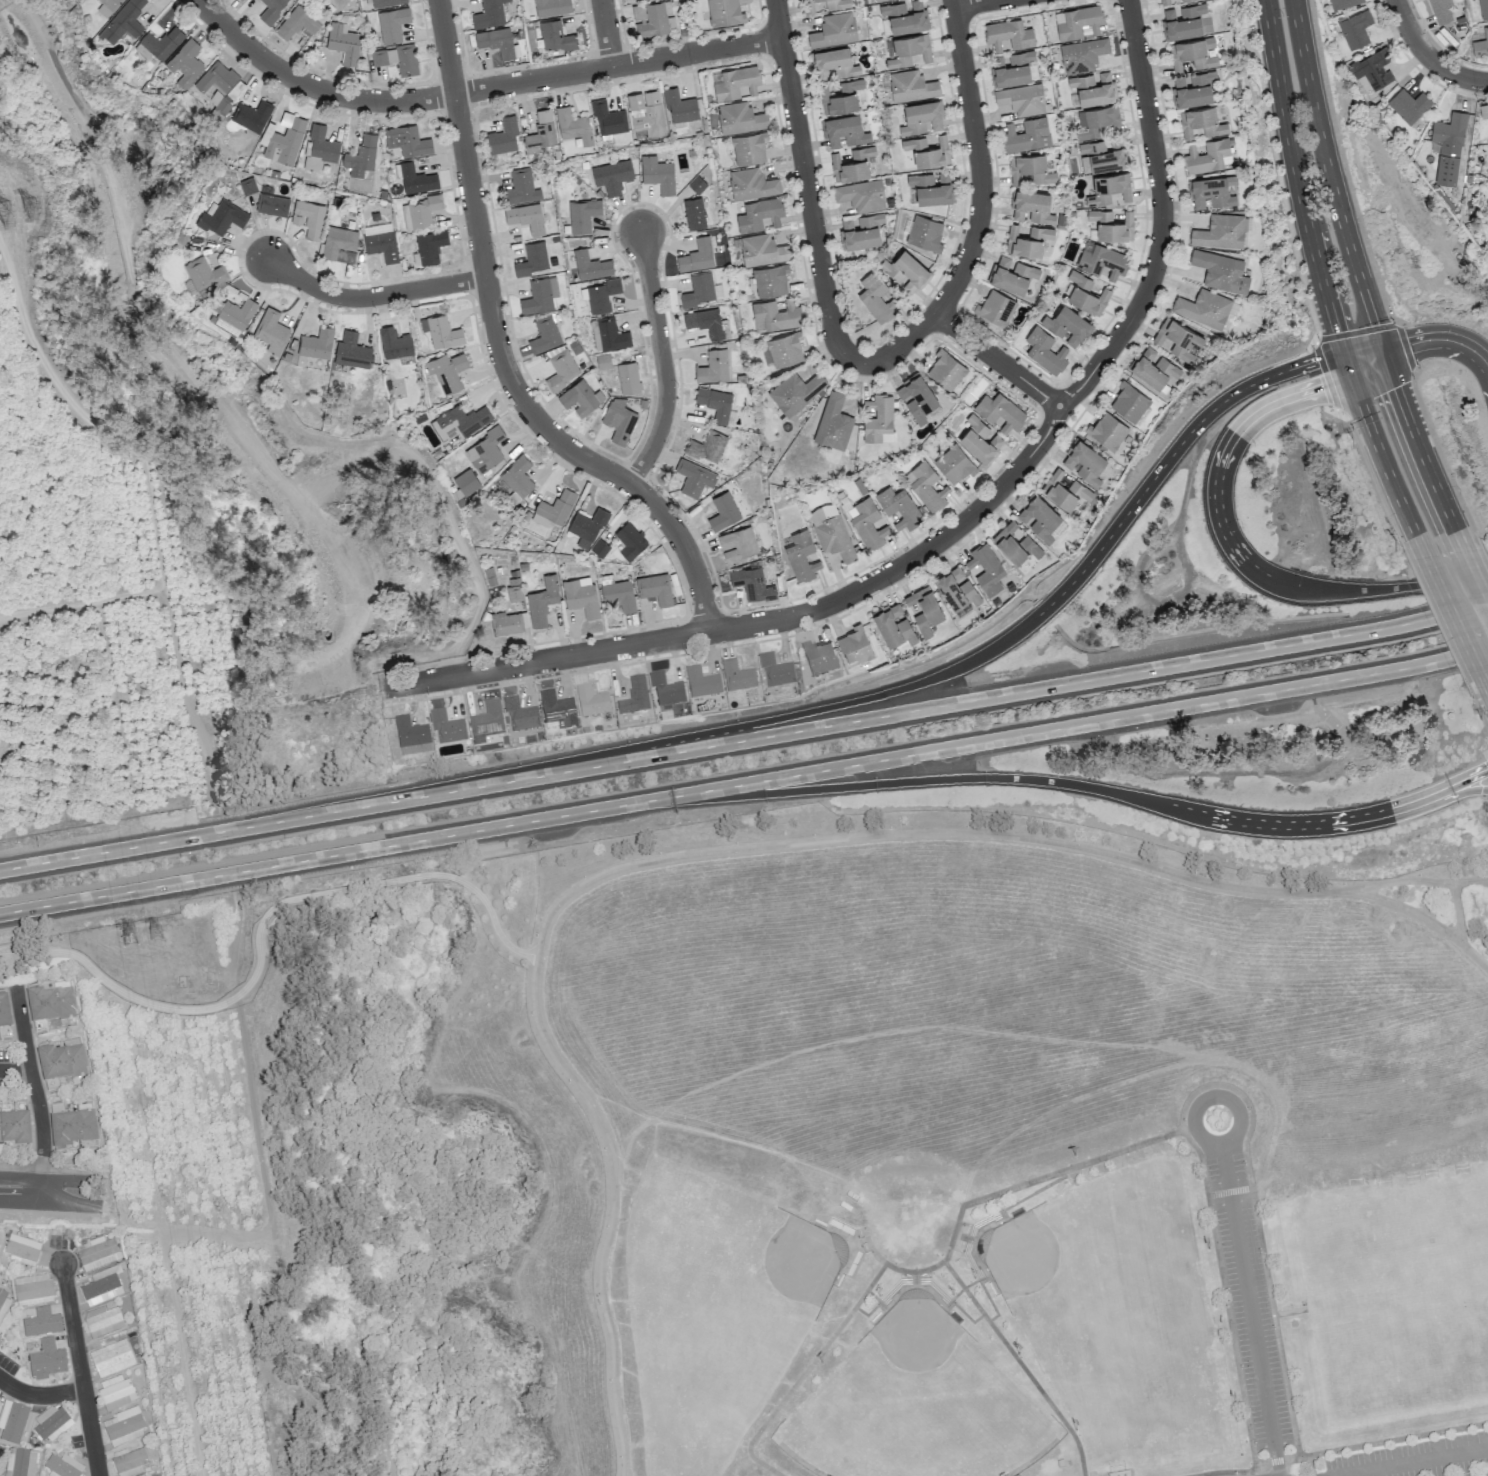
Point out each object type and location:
building: (240, 0)
building: (879, 0)
building: (1186, 0)
building: (386, 2)
building: (1164, 2)
building: (110, 3)
road: (977, 3)
building: (1343, 3)
building: (824, 5)
building: (551, 7)
building: (1483, 9)
building: (271, 10)
building: (1439, 11)
building: (724, 12)
building: (489, 14)
building: (904, 16)
building: (654, 19)
building: (124, 21)
building: (1077, 22)
building: (1186, 22)
building: (297, 23)
building: (392, 24)
building: (1355, 29)
building: (834, 30)
road: (607, 33)
building: (1008, 34)
building: (555, 36)
building: (495, 41)
building: (162, 42)
building: (344, 43)
building: (1481, 45)
building: (909, 50)
building: (1193, 53)
building: (1082, 54)
road: (1430, 56)
building: (397, 58)
building: (185, 63)
building: (833, 63)
road: (619, 66)
building: (1011, 68)
building: (1373, 68)
building: (220, 84)
building: (911, 86)
road: (312, 88)
building: (1093, 88)
building: (1193, 89)
building: (841, 97)
building: (1022, 99)
building: (1409, 105)
building: (679, 106)
building: (1483, 110)
building: (646, 112)
building: (251, 115)
building: (921, 117)
building: (608, 118)
building: (740, 118)
building: (1097, 120)
building: (1201, 122)
building: (573, 127)
building: (539, 130)
building: (844, 130)
building: (502, 133)
building: (1026, 135)
building: (285, 140)
building: (407, 141)
building: (1448, 147)
building: (319, 148)
building: (749, 148)
building: (927, 151)
building: (361, 156)
building: (1100, 157)
building: (1208, 157)
building: (851, 164)
building: (1030, 168)
building: (658, 174)
building: (612, 176)
building: (416, 179)
road: (1330, 179)
road: (808, 180)
road: (1299, 183)
building: (520, 184)
building: (696, 184)
building: (751, 184)
building: (246, 186)
building: (931, 187)
building: (1108, 188)
building: (1210, 192)
building: (861, 195)
building: (271, 202)
building: (1031, 206)
power tower: (31, 207)
power tower: (4, 212)
building: (581, 212)
building: (694, 213)
road: (983, 213)
building: (526, 214)
building: (222, 217)
building: (308, 218)
building: (1111, 224)
building: (860, 230)
building: (1220, 232)
building: (925, 233)
building: (1027, 240)
building: (429, 243)
building: (339, 244)
building: (381, 245)
building: (762, 250)
building: (696, 256)
building: (530, 257)
building: (1102, 261)
building: (589, 263)
building: (204, 271)
building: (906, 271)
building: (1221, 271)
building: (1011, 275)
building: (770, 280)
building: (701, 290)
building: (539, 293)
building: (601, 293)
building: (1086, 294)
building: (875, 297)
road: (373, 298)
building: (996, 307)
building: (1203, 308)
building: (777, 314)
building: (234, 315)
building: (707, 323)
building: (1067, 325)
building: (271, 330)
building: (543, 331)
building: (607, 331)
building: (443, 332)
road: (28, 334)
building: (1178, 339)
road: (1420, 342)
building: (316, 343)
building: (394, 343)
building: (784, 349)
building: (1044, 350)
building: (351, 351)
traffic signals: (1384, 354)
road: (502, 355)
building: (603, 360)
road: (997, 360)
road: (662, 363)
traffic signals: (1348, 364)
building: (713, 366)
building: (560, 367)
building: (1153, 367)
building: (945, 370)
building: (447, 371)
building: (628, 377)
building: (795, 391)
building: (580, 398)
building: (1129, 402)
building: (715, 403)
building: (1000, 411)
building: (879, 418)
building: (618, 420)
building: (460, 421)
building: (833, 422)
building: (1107, 430)
building: (979, 440)
road: (1418, 442)
building: (707, 446)
building: (486, 450)
road: (1378, 450)
building: (1084, 462)
building: (954, 463)
building: (517, 476)
building: (694, 477)
building: (466, 481)
building: (927, 486)
building: (1065, 490)
building: (556, 506)
building: (899, 507)
building: (723, 511)
building: (1038, 517)
building: (866, 523)
building: (587, 527)
road: (956, 527)
building: (831, 531)
road: (156, 538)
building: (629, 540)
road: (1461, 540)
building: (1015, 543)
building: (737, 545)
road: (1421, 546)
road: (1237, 551)
building: (801, 556)
building: (985, 568)
road: (1476, 575)
building: (752, 584)
building: (655, 588)
building: (956, 588)
building: (514, 592)
building: (618, 594)
building: (580, 596)
building: (542, 601)
building: (924, 608)
road: (1456, 621)
building: (507, 622)
building: (893, 624)
road: (1019, 629)
building: (854, 645)
building: (819, 658)
building: (776, 671)
building: (737, 676)
building: (701, 682)
road: (1487, 686)
building: (666, 690)
building: (634, 696)
building: (591, 701)
building: (557, 710)
building: (520, 715)
building: (486, 722)
road: (1068, 725)
building: (446, 727)
building: (410, 732)
road: (743, 739)
building: (413, 749)
road: (207, 751)
road: (1074, 785)
road: (1461, 792)
road: (1002, 834)
road: (324, 857)
road: (1432, 881)
road: (1470, 882)
road: (259, 927)
power tower: (159, 935)
power tower: (130, 940)
park: (35, 959)
road: (16, 961)
road: (12, 971)
building: (50, 1003)
building: (4, 1012)
building: (61, 1061)
road: (15, 1070)
road: (36, 1094)
building: (14, 1127)
building: (72, 1127)
road: (1217, 1142)
road: (258, 1146)
park: (957, 1146)
road: (20, 1178)
road: (70, 1181)
road: (19, 1202)
road: (68, 1204)
road: (612, 1207)
road: (161, 1235)
building: (21, 1249)
building: (96, 1253)
building: (101, 1286)
building: (32, 1290)
park: (720, 1294)
park: (1394, 1294)
building: (4, 1303)
parking lot: (1248, 1307)
park: (1116, 1308)
road: (1248, 1309)
building: (36, 1320)
building: (103, 1322)
building: (111, 1358)
building: (47, 1360)
road: (81, 1370)
building: (115, 1392)
road: (40, 1396)
park: (916, 1404)
building: (12, 1422)
building: (52, 1423)
building: (123, 1427)
parking lot: (1415, 1458)
building: (20, 1462)
road: (1410, 1462)
building: (128, 1463)
building: (62, 1466)
building: (1119, 1473)
building: (147, 1475)

